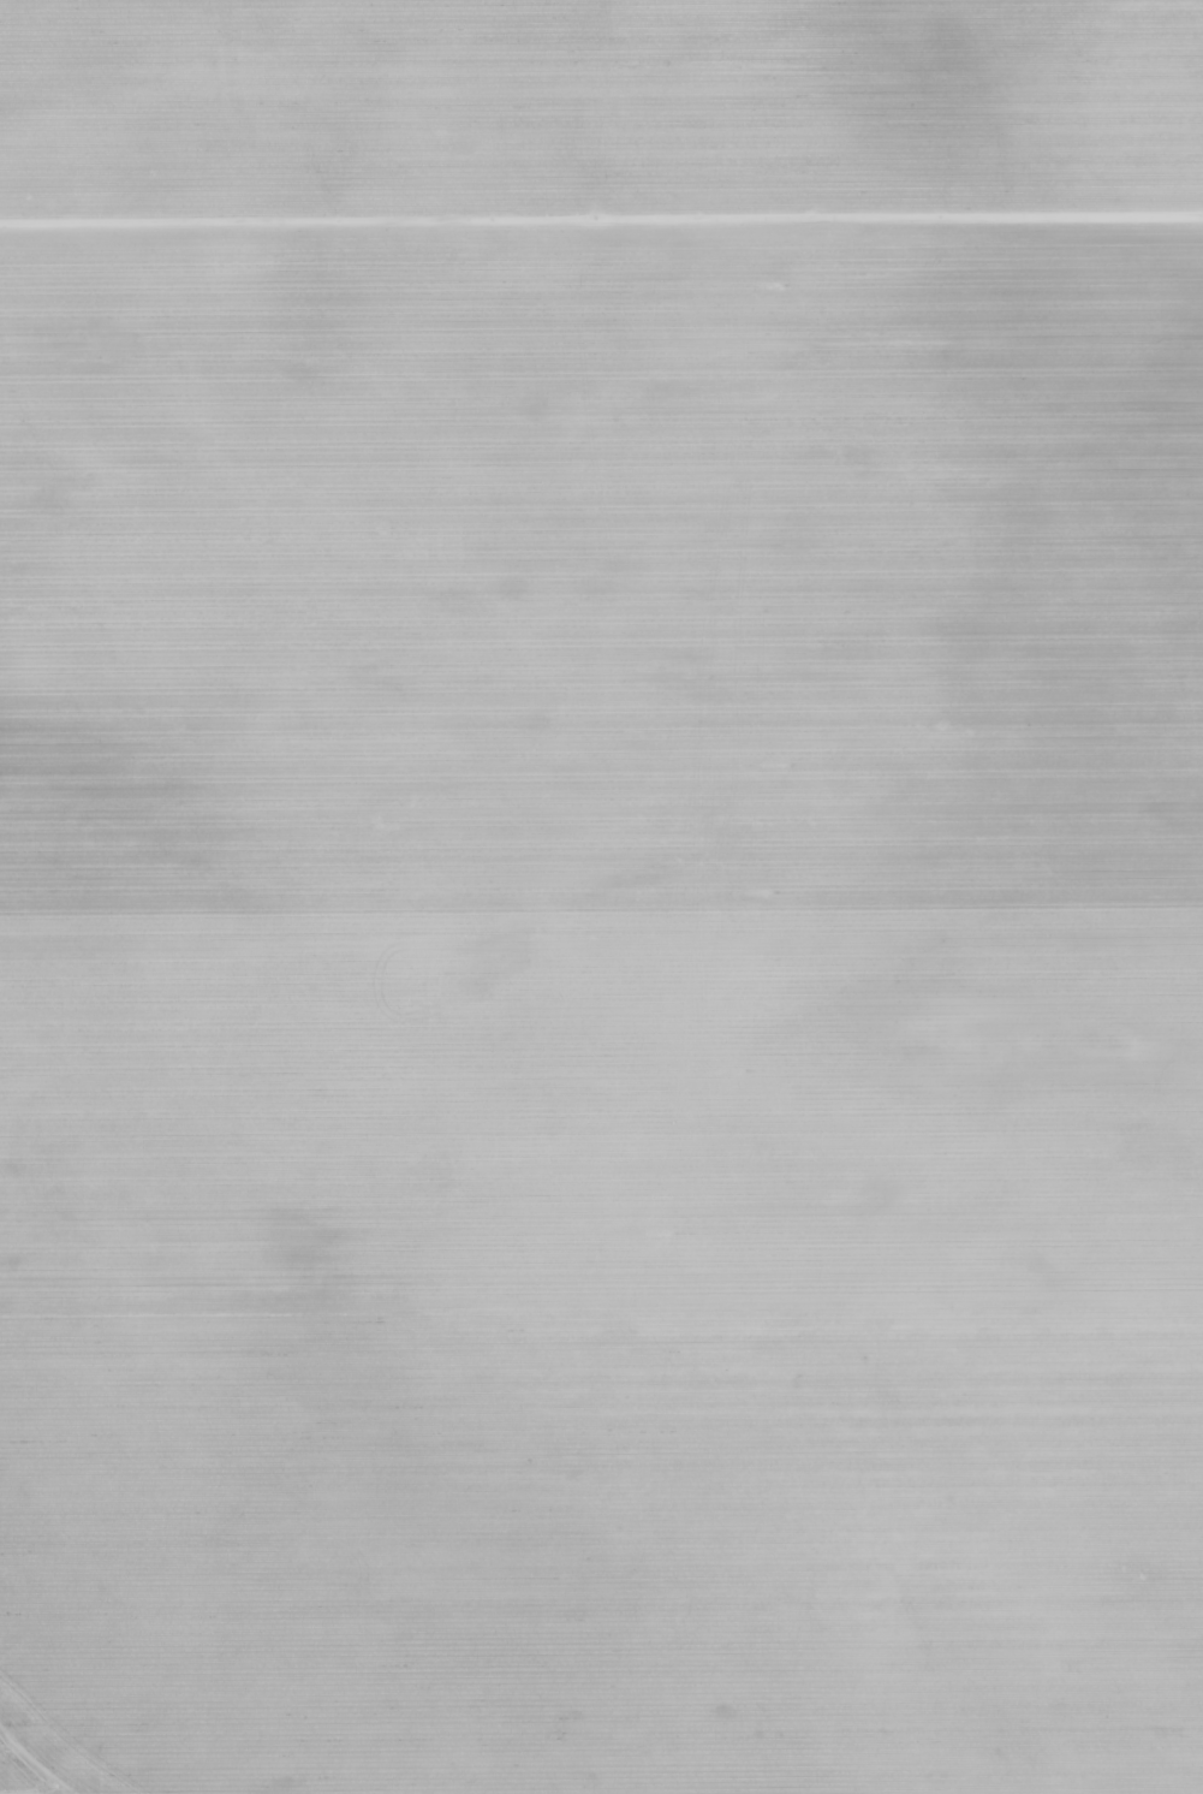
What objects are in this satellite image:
road: (601, 216)

